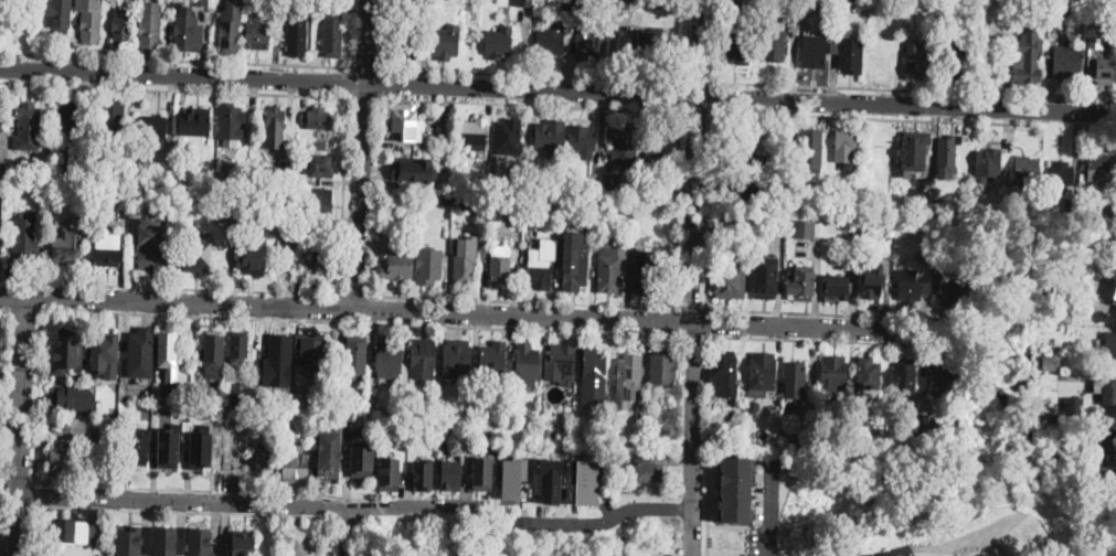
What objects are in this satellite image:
building: (1081, 0)
building: (524, 2)
building: (659, 2)
building: (734, 2)
building: (268, 3)
building: (620, 3)
building: (854, 3)
building: (583, 6)
building: (807, 6)
building: (787, 8)
building: (1056, 14)
building: (57, 17)
building: (89, 19)
building: (1112, 21)
building: (150, 25)
building: (230, 25)
building: (121, 28)
building: (189, 32)
building: (297, 34)
building: (332, 34)
building: (257, 35)
building: (651, 40)
building: (404, 41)
building: (445, 42)
building: (499, 42)
building: (550, 42)
building: (774, 44)
building: (591, 45)
road: (699, 45)
building: (740, 47)
building: (814, 52)
building: (851, 56)
building: (1027, 57)
road: (173, 58)
building: (917, 60)
building: (952, 62)
building: (1066, 62)
road: (364, 65)
building: (1103, 68)
road: (530, 72)
road: (348, 78)
road: (698, 78)
road: (348, 79)
road: (379, 81)
road: (874, 86)
road: (173, 87)
road: (679, 93)
road: (363, 94)
road: (714, 95)
road: (906, 101)
road: (528, 103)
road: (697, 109)
building: (114, 116)
road: (875, 116)
building: (275, 118)
building: (68, 119)
building: (319, 119)
building: (29, 120)
building: (231, 120)
building: (404, 120)
building: (198, 121)
building: (152, 129)
building: (475, 132)
building: (550, 135)
building: (510, 138)
building: (582, 138)
building: (783, 142)
building: (625, 143)
building: (846, 145)
building: (321, 146)
building: (810, 148)
building: (183, 149)
building: (914, 150)
road: (361, 152)
building: (948, 152)
building: (83, 157)
building: (740, 159)
building: (656, 161)
building: (1098, 162)
building: (139, 163)
building: (763, 163)
building: (43, 164)
building: (987, 164)
building: (286, 165)
building: (321, 165)
building: (204, 167)
building: (82, 168)
building: (416, 168)
building: (66, 170)
building: (252, 171)
building: (1027, 171)
building: (467, 174)
building: (1061, 175)
building: (767, 180)
building: (13, 181)
building: (297, 181)
building: (404, 182)
building: (181, 183)
building: (536, 183)
building: (582, 185)
building: (593, 186)
building: (740, 189)
building: (667, 190)
building: (804, 191)
road: (342, 192)
building: (649, 192)
road: (375, 194)
building: (214, 195)
building: (281, 195)
building: (486, 196)
building: (924, 196)
building: (447, 197)
building: (778, 197)
building: (127, 199)
building: (463, 200)
building: (321, 201)
building: (939, 202)
building: (591, 204)
building: (1072, 204)
road: (693, 205)
building: (1106, 206)
road: (677, 207)
road: (710, 209)
building: (1048, 210)
building: (125, 212)
building: (517, 218)
building: (555, 222)
building: (304, 225)
building: (412, 227)
building: (808, 227)
building: (755, 232)
building: (25, 238)
building: (641, 239)
building: (594, 242)
building: (67, 245)
building: (108, 248)
building: (328, 248)
building: (149, 249)
building: (196, 254)
building: (922, 255)
building: (255, 257)
building: (818, 258)
building: (318, 260)
building: (464, 264)
building: (396, 265)
building: (429, 266)
building: (609, 268)
building: (500, 271)
building: (539, 272)
building: (575, 272)
building: (647, 272)
building: (730, 276)
building: (766, 276)
building: (873, 279)
building: (803, 284)
road: (169, 285)
building: (910, 286)
building: (841, 288)
building: (943, 290)
road: (9, 292)
road: (355, 292)
road: (523, 298)
building: (1114, 302)
road: (3, 304)
road: (339, 304)
road: (346, 304)
road: (23, 306)
road: (371, 306)
road: (690, 307)
road: (827, 311)
building: (1059, 316)
road: (358, 319)
road: (674, 319)
building: (0, 320)
road: (706, 321)
road: (818, 324)
road: (690, 333)
road: (826, 338)
building: (141, 346)
building: (103, 350)
building: (310, 350)
building: (1109, 351)
building: (68, 352)
building: (240, 353)
building: (168, 354)
building: (354, 354)
building: (213, 355)
building: (457, 356)
building: (389, 357)
building: (423, 359)
building: (278, 361)
building: (493, 361)
building: (560, 363)
building: (1052, 363)
building: (527, 364)
building: (594, 365)
building: (663, 367)
building: (630, 371)
building: (763, 371)
building: (724, 373)
building: (796, 373)
building: (833, 373)
building: (88, 376)
building: (905, 376)
building: (869, 377)
building: (939, 377)
road: (3, 378)
building: (180, 392)
building: (1108, 393)
road: (21, 394)
road: (36, 394)
building: (267, 396)
building: (233, 397)
building: (72, 398)
building: (305, 400)
building: (405, 400)
building: (338, 402)
building: (476, 404)
building: (754, 404)
building: (1073, 405)
building: (148, 407)
building: (284, 410)
building: (565, 417)
building: (928, 419)
building: (402, 424)
building: (787, 425)
building: (328, 427)
building: (71, 428)
building: (546, 430)
building: (443, 432)
road: (691, 437)
building: (616, 439)
building: (759, 442)
building: (404, 445)
building: (138, 446)
building: (169, 446)
building: (789, 447)
building: (201, 449)
building: (347, 450)
building: (330, 452)
building: (1108, 455)
building: (182, 456)
building: (608, 456)
building: (261, 457)
building: (232, 458)
building: (362, 459)
building: (624, 460)
building: (62, 461)
building: (294, 462)
building: (648, 470)
building: (390, 473)
building: (481, 473)
building: (450, 474)
building: (424, 475)
building: (520, 475)
building: (550, 479)
building: (585, 480)
road: (203, 488)
building: (735, 488)
building: (1115, 488)
road: (33, 493)
road: (242, 499)
road: (708, 507)
road: (772, 507)
road: (181, 510)
road: (603, 516)
road: (733, 524)
road: (14, 525)
road: (31, 531)
building: (67, 532)
building: (130, 541)
building: (164, 541)
building: (201, 541)
building: (243, 542)
road: (7, 549)
building: (644, 555)

